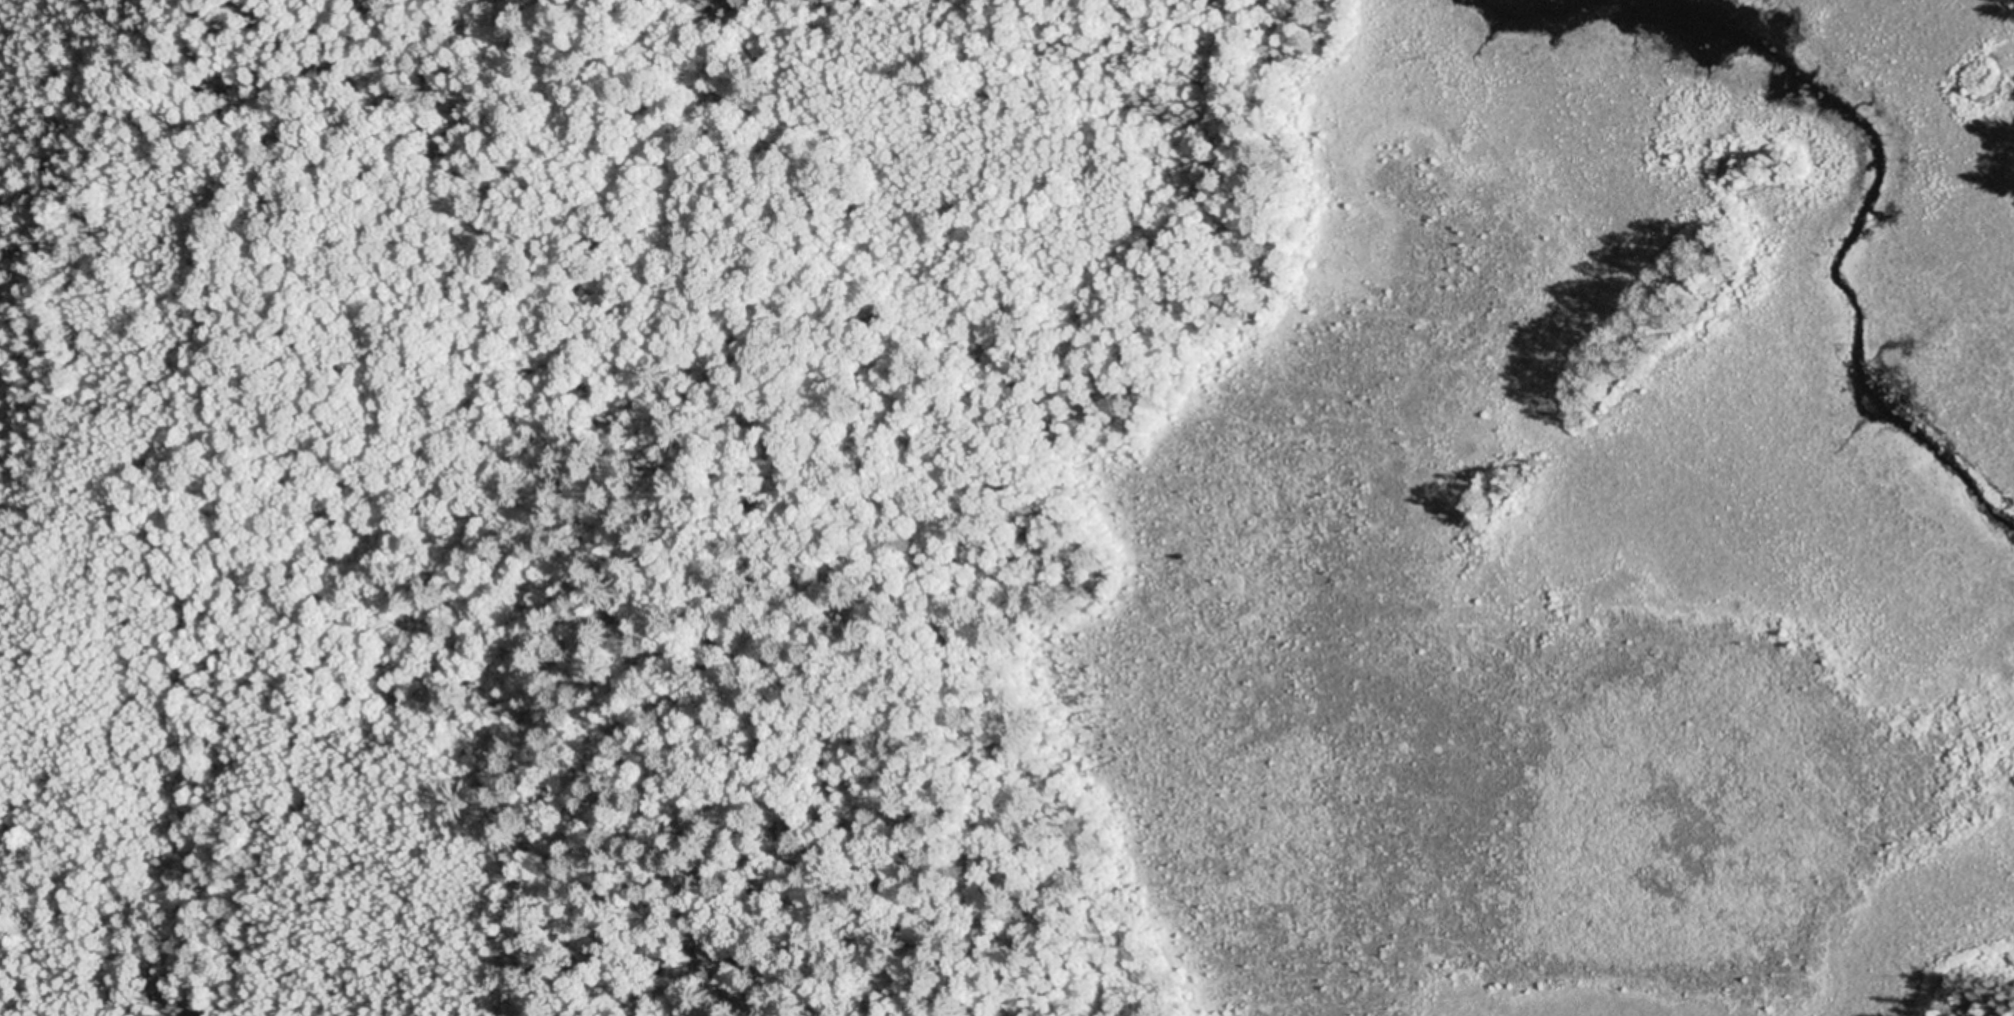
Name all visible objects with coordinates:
road: (305, 74)
road: (222, 378)
road: (910, 503)

